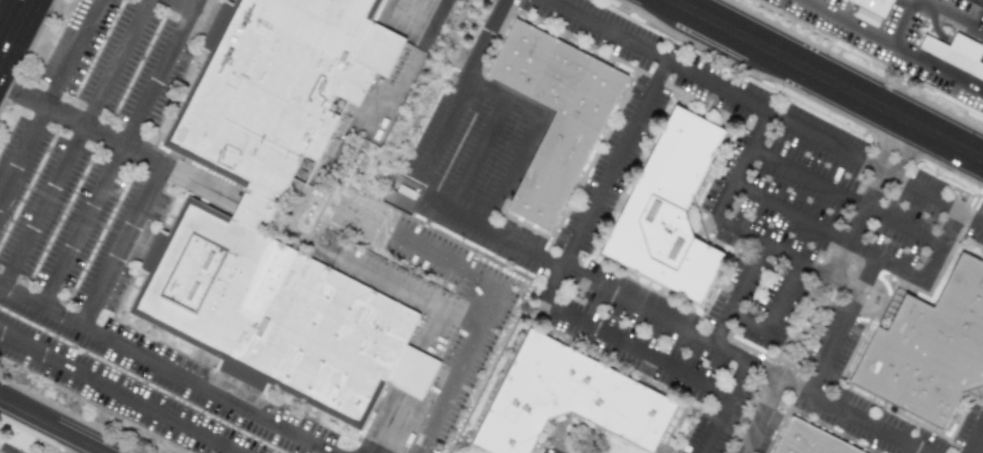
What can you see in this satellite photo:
building: (852, 1)
road: (184, 4)
road: (195, 4)
building: (876, 5)
road: (4, 9)
road: (949, 16)
road: (850, 21)
road: (32, 39)
road: (947, 40)
road: (415, 53)
building: (956, 53)
road: (916, 56)
road: (159, 78)
road: (827, 79)
building: (267, 94)
road: (49, 96)
road: (512, 109)
road: (764, 110)
road: (81, 123)
road: (75, 142)
road: (474, 157)
building: (562, 158)
road: (614, 165)
road: (845, 195)
road: (871, 199)
building: (673, 217)
road: (81, 224)
road: (736, 227)
road: (826, 230)
road: (121, 245)
road: (941, 245)
road: (737, 293)
road: (612, 295)
road: (787, 296)
road: (483, 319)
road: (749, 321)
building: (280, 324)
road: (843, 325)
road: (620, 342)
building: (933, 354)
road: (165, 368)
road: (115, 393)
building: (573, 398)
road: (726, 407)
road: (760, 415)
road: (54, 426)
road: (392, 432)
road: (974, 437)
building: (814, 440)
road: (76, 446)

